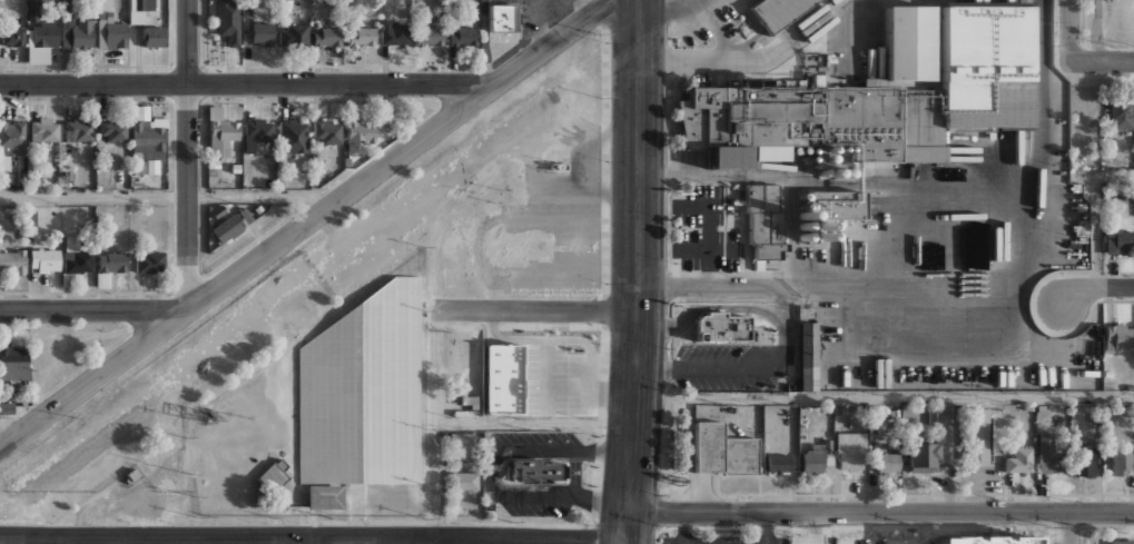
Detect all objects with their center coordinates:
building: (1, 3)
building: (68, 3)
building: (145, 4)
building: (33, 8)
building: (777, 11)
road: (665, 14)
building: (228, 20)
building: (496, 20)
road: (1069, 30)
road: (720, 31)
building: (111, 32)
building: (394, 32)
building: (78, 33)
building: (263, 33)
building: (293, 33)
building: (154, 36)
building: (362, 36)
building: (430, 36)
building: (463, 36)
building: (12, 37)
building: (326, 37)
road: (796, 39)
building: (40, 40)
road: (1104, 60)
road: (691, 62)
building: (816, 82)
road: (249, 85)
building: (881, 93)
building: (1121, 113)
building: (45, 129)
building: (78, 129)
building: (112, 130)
building: (258, 131)
building: (326, 131)
building: (359, 132)
building: (219, 133)
building: (294, 136)
building: (12, 137)
building: (147, 142)
road: (485, 148)
road: (188, 154)
building: (345, 160)
building: (280, 161)
building: (558, 165)
building: (234, 166)
road: (1039, 175)
road: (172, 196)
building: (835, 205)
building: (256, 207)
building: (216, 210)
road: (1095, 212)
building: (244, 214)
building: (31, 216)
building: (765, 220)
road: (306, 222)
building: (227, 228)
building: (1116, 239)
road: (640, 256)
building: (77, 259)
building: (12, 260)
building: (45, 260)
building: (150, 261)
building: (114, 263)
road: (1094, 286)
road: (709, 287)
road: (899, 288)
road: (779, 303)
road: (732, 307)
road: (93, 308)
road: (533, 310)
building: (722, 327)
building: (1117, 336)
road: (916, 346)
building: (808, 356)
building: (14, 363)
parking lot: (727, 365)
road: (702, 366)
building: (544, 382)
building: (363, 392)
road: (884, 398)
building: (6, 407)
building: (500, 409)
road: (16, 424)
building: (977, 435)
building: (461, 439)
parking lot: (542, 439)
building: (722, 451)
building: (851, 451)
building: (1048, 453)
building: (817, 455)
building: (921, 457)
building: (1085, 459)
building: (1019, 461)
building: (778, 463)
building: (1122, 463)
building: (888, 464)
road: (490, 467)
building: (539, 471)
building: (132, 473)
building: (273, 476)
parking lot: (573, 476)
building: (463, 481)
building: (325, 497)
parking lot: (535, 507)
road: (879, 513)
road: (624, 525)
road: (682, 528)
road: (766, 528)
road: (1069, 528)
road: (310, 537)
road: (308, 541)
road: (431, 541)
road: (621, 541)
road: (623, 541)
building: (1124, 542)

